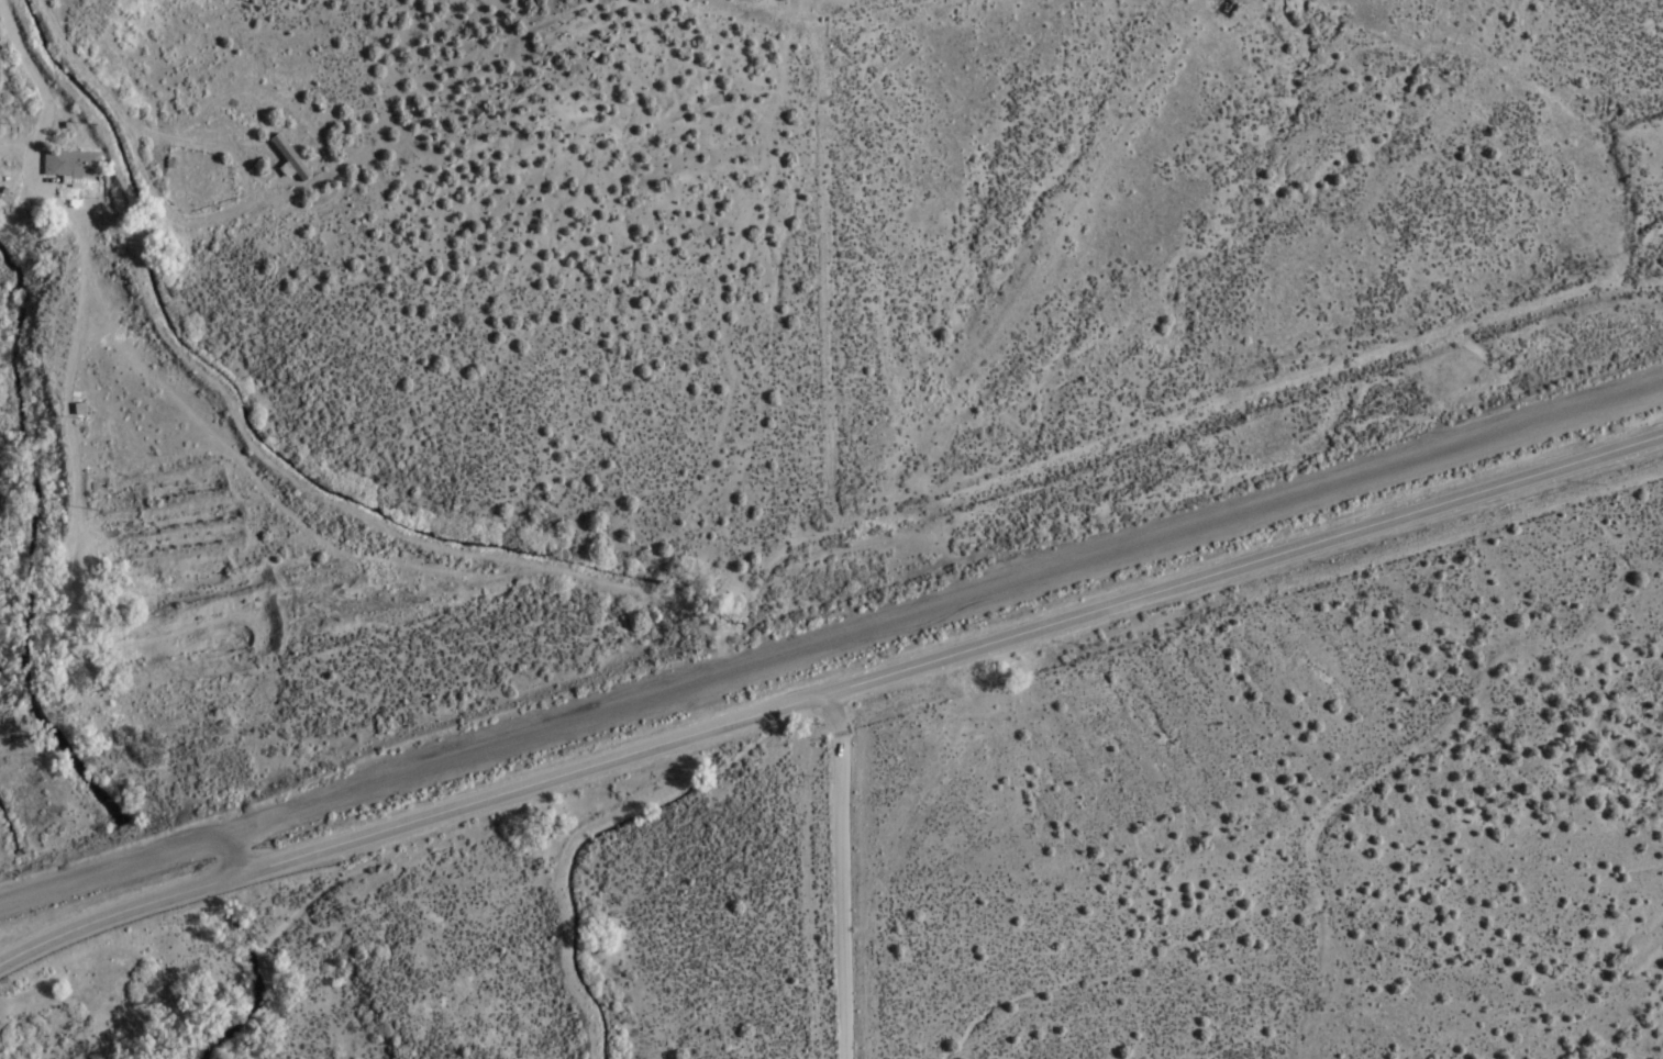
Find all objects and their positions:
road: (768, 15)
road: (852, 15)
building: (290, 158)
road: (824, 546)
river: (37, 557)
road: (944, 607)
road: (829, 691)
road: (133, 863)
river: (178, 876)
river: (252, 994)

